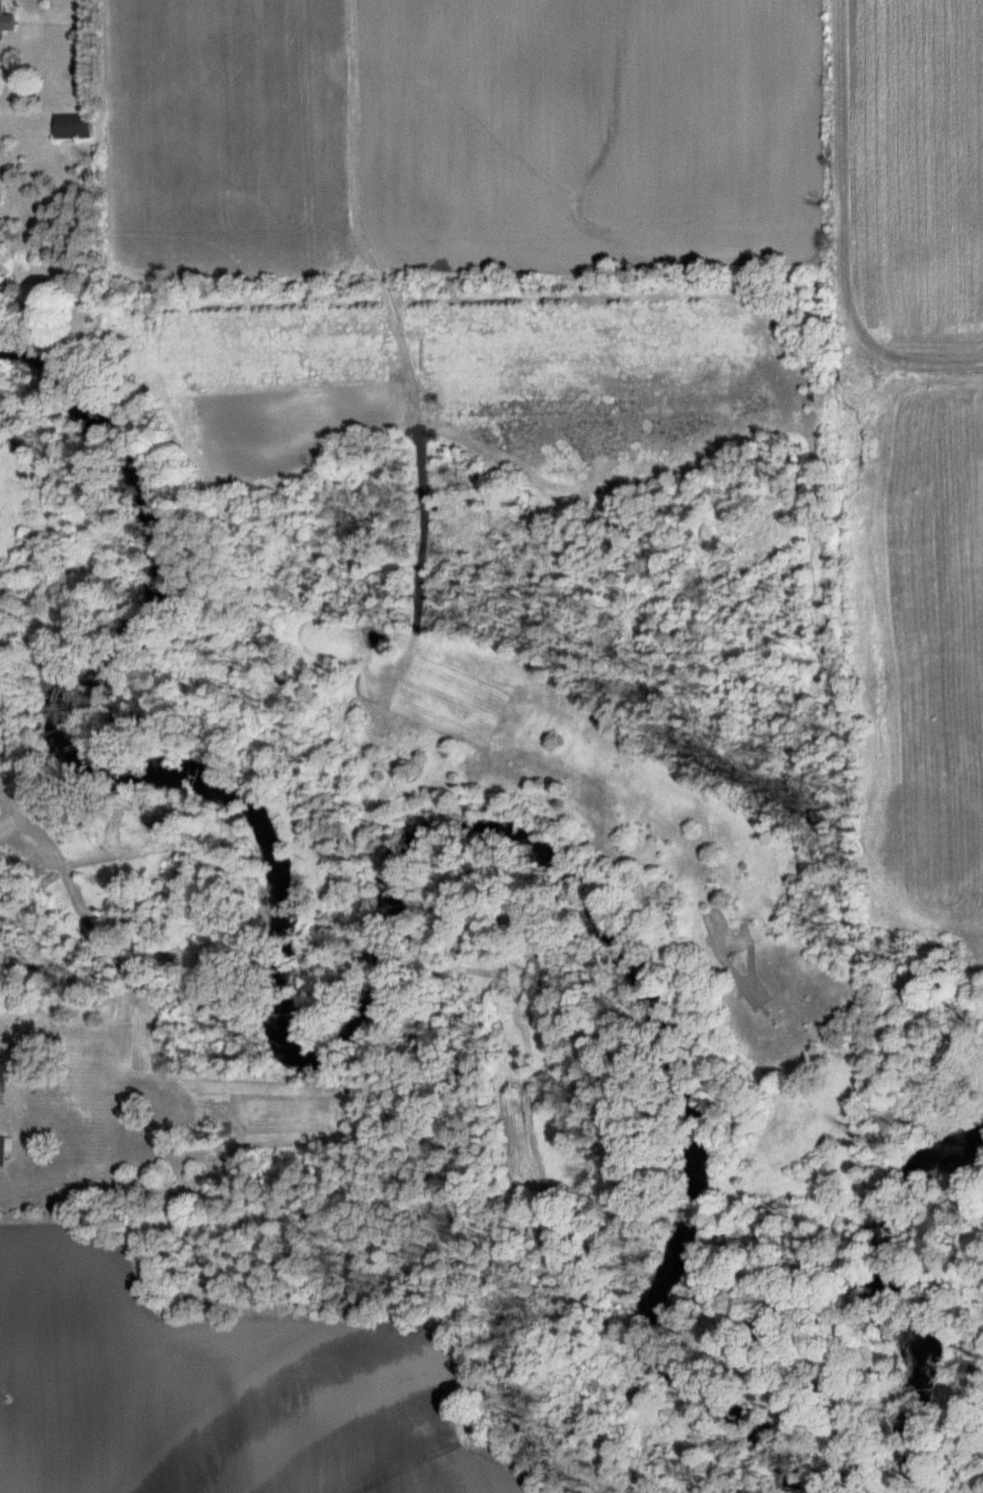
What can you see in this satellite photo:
building: (5, 22)
building: (73, 127)
building: (3, 1072)
building: (2, 1150)

